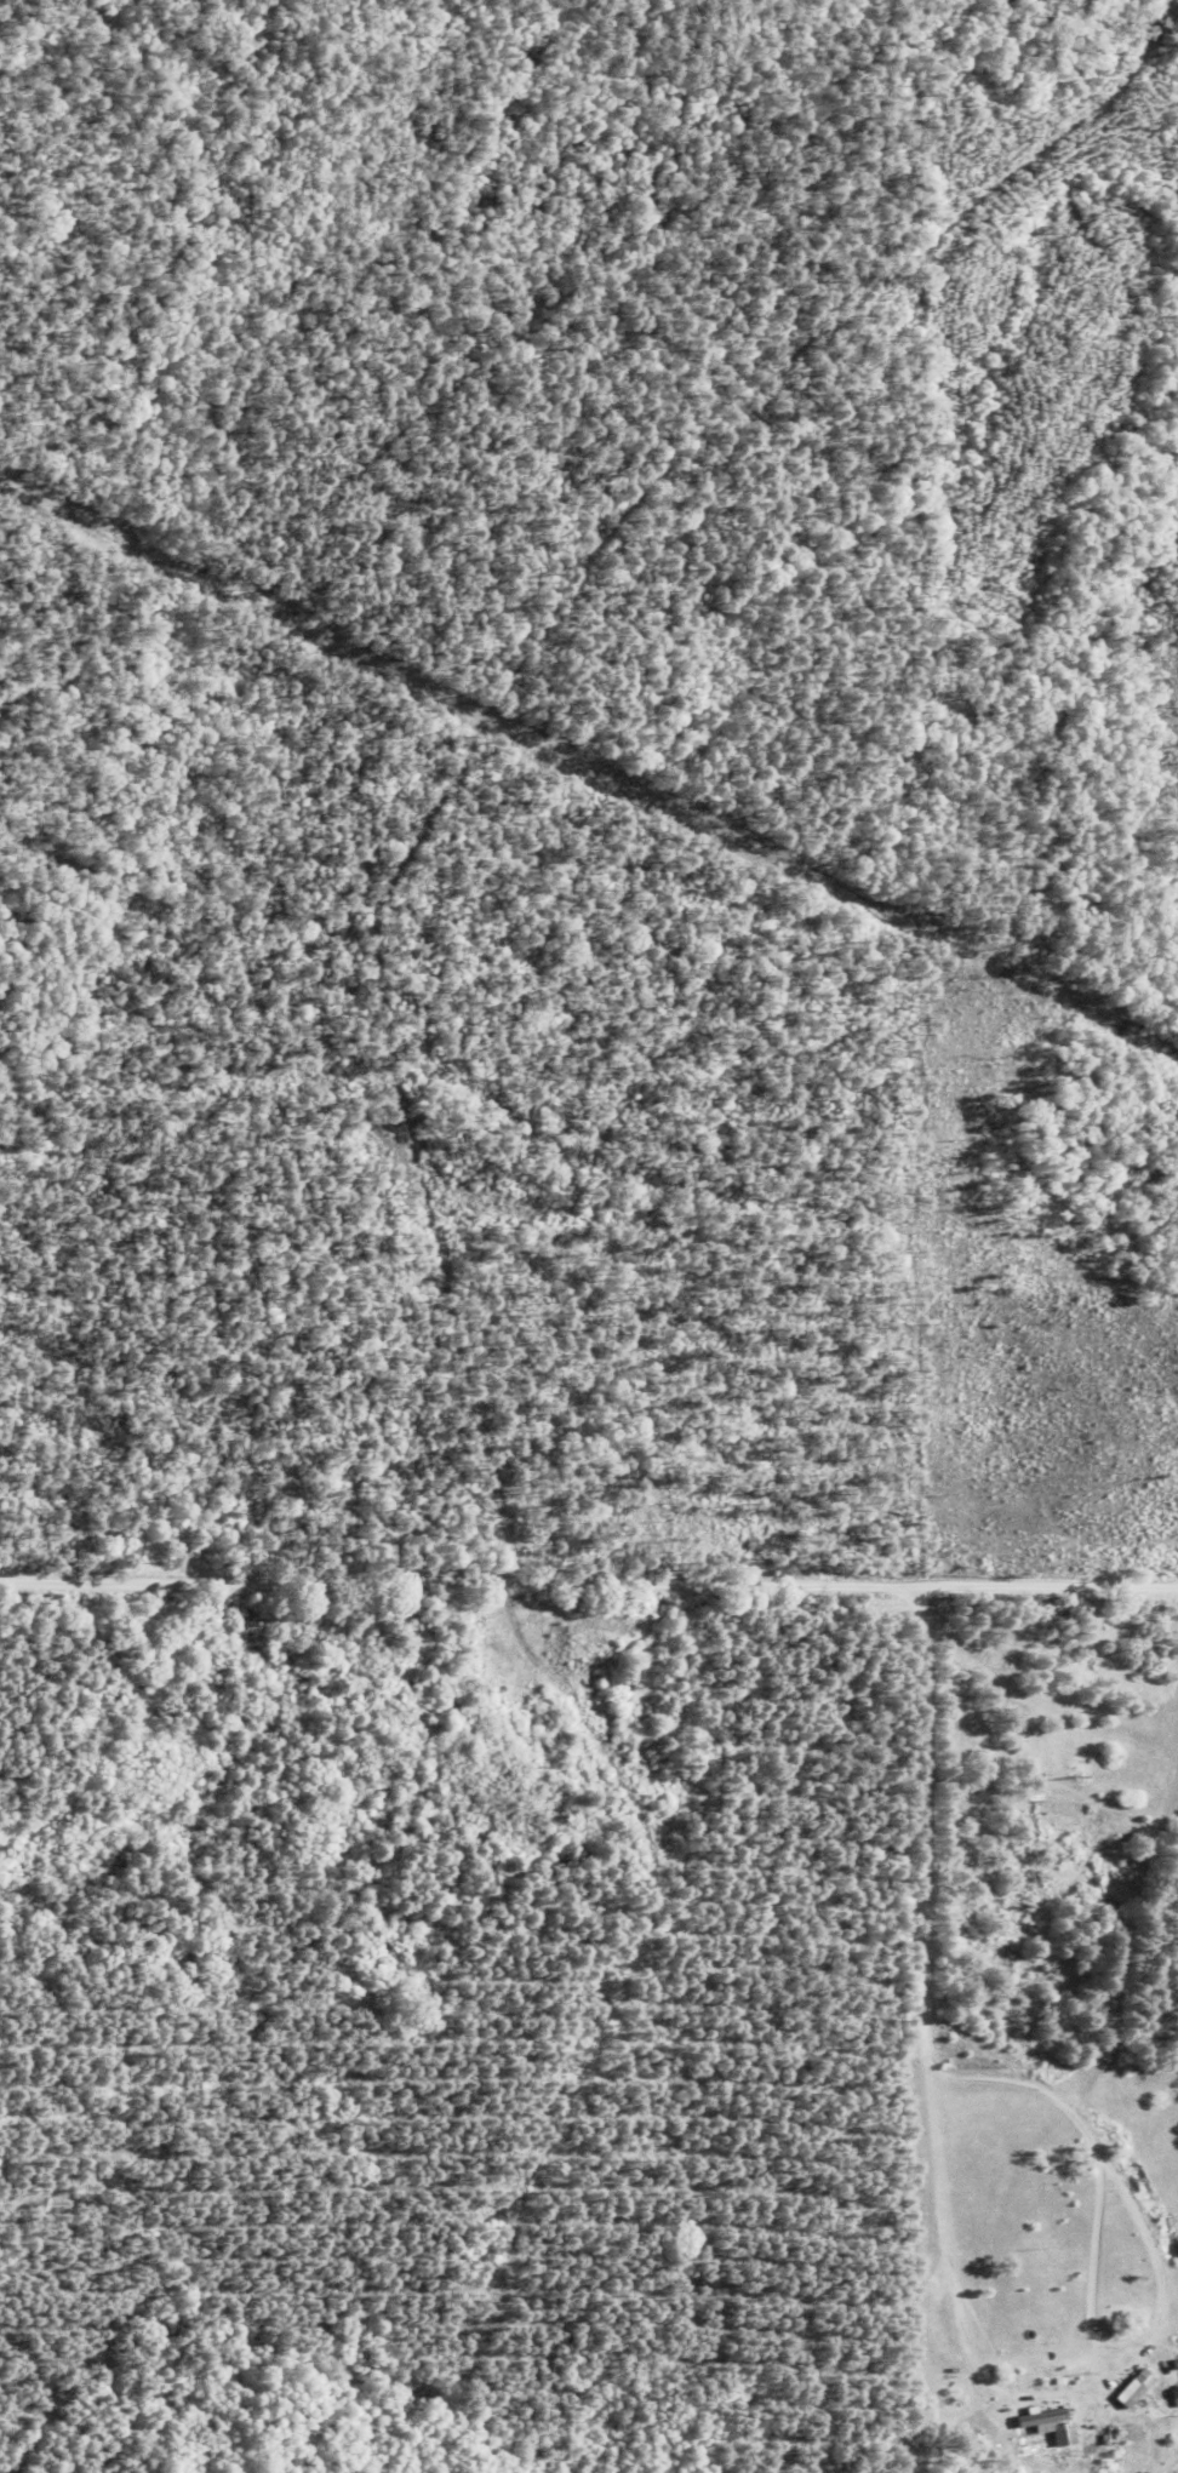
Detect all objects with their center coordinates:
road: (588, 1588)
road: (926, 2025)
road: (1091, 2275)
road: (957, 2297)
building: (1176, 2398)
building: (1042, 2421)
building: (1096, 2440)

